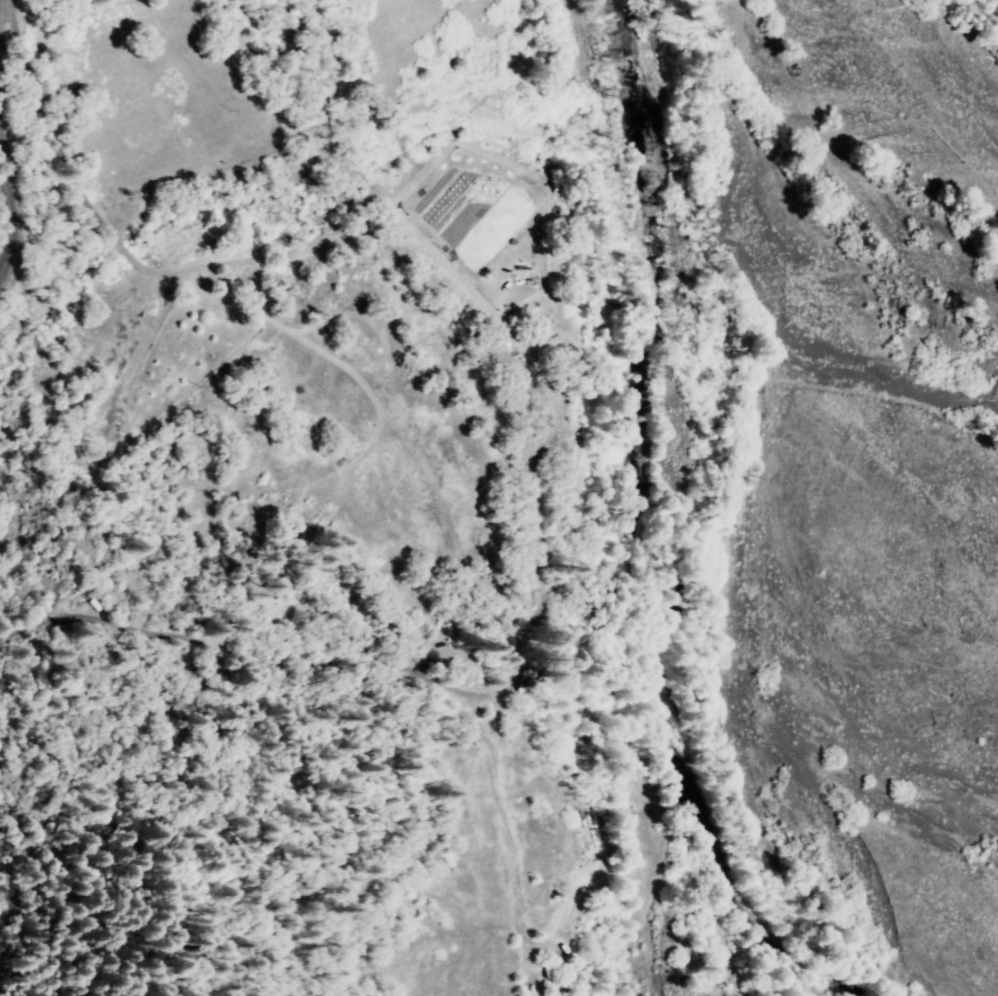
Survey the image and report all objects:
road: (51, 214)
river: (675, 373)
road: (20, 608)
river: (869, 870)

